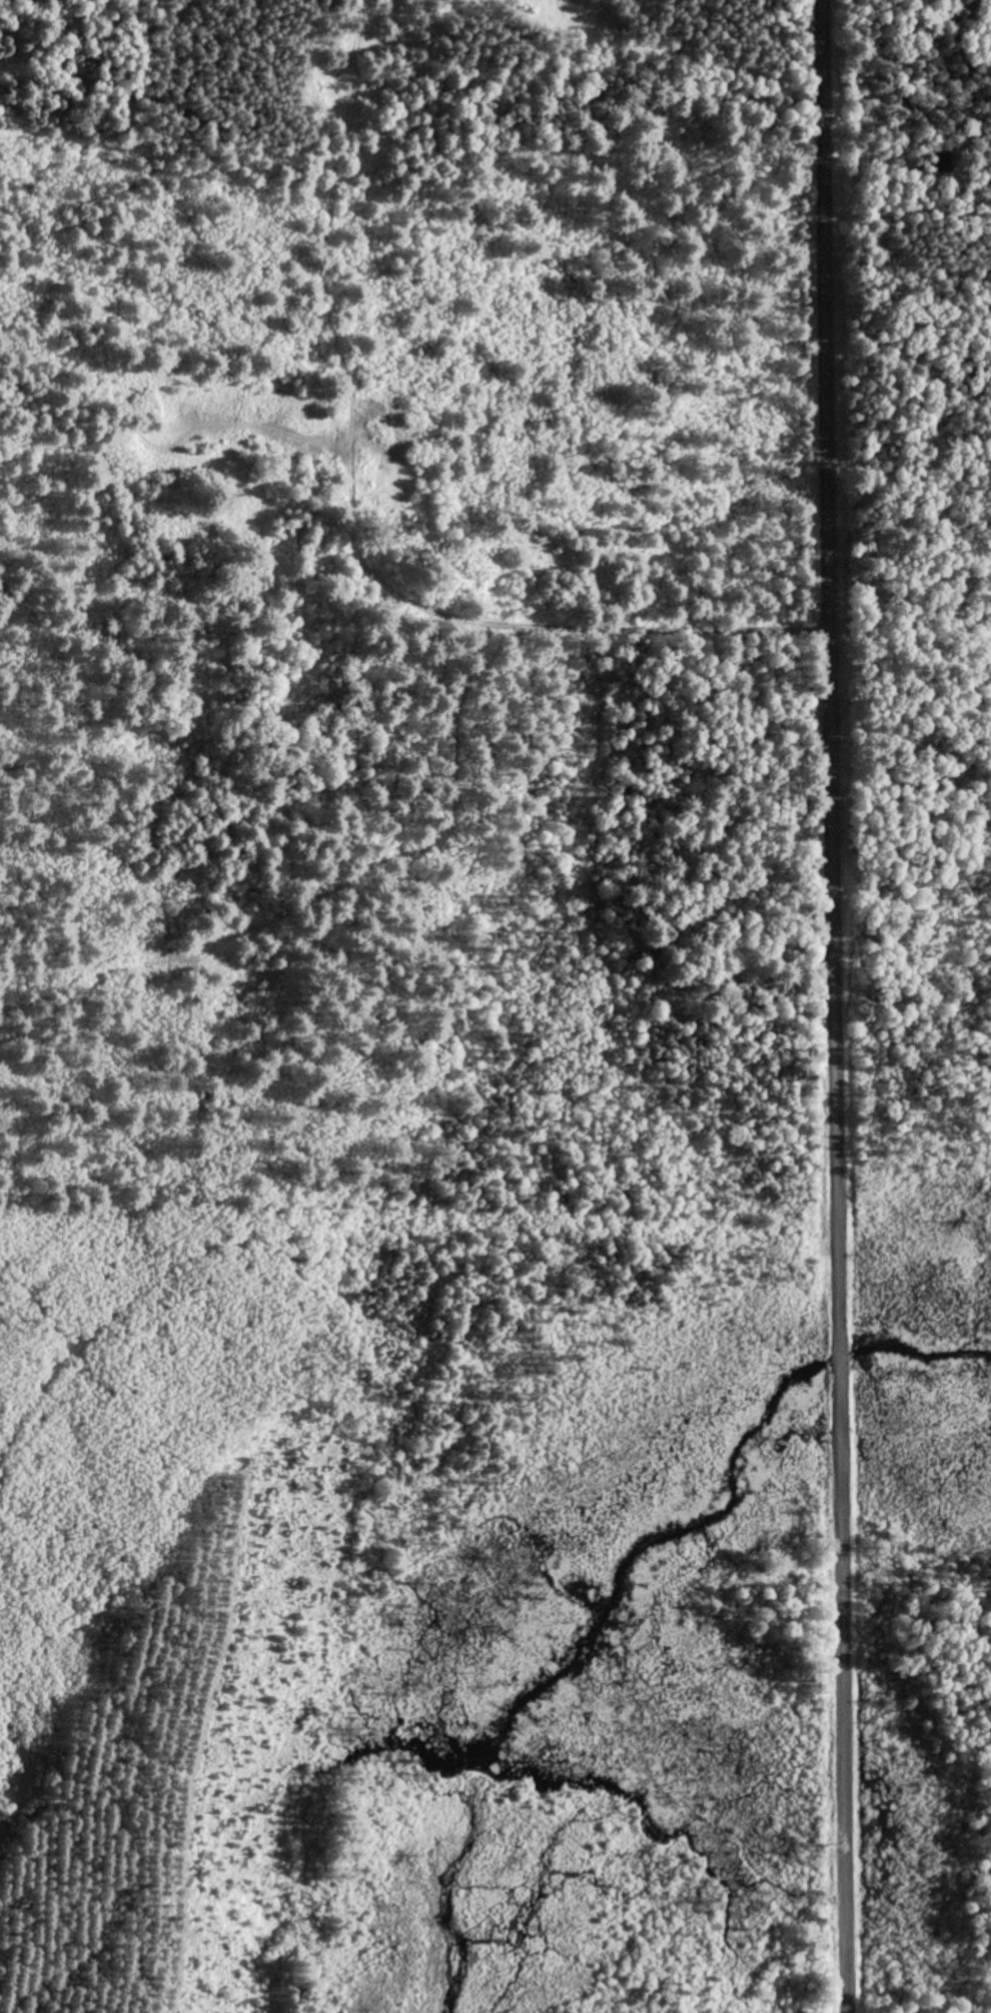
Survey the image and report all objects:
road: (834, 322)
road: (481, 619)
road: (850, 1328)

